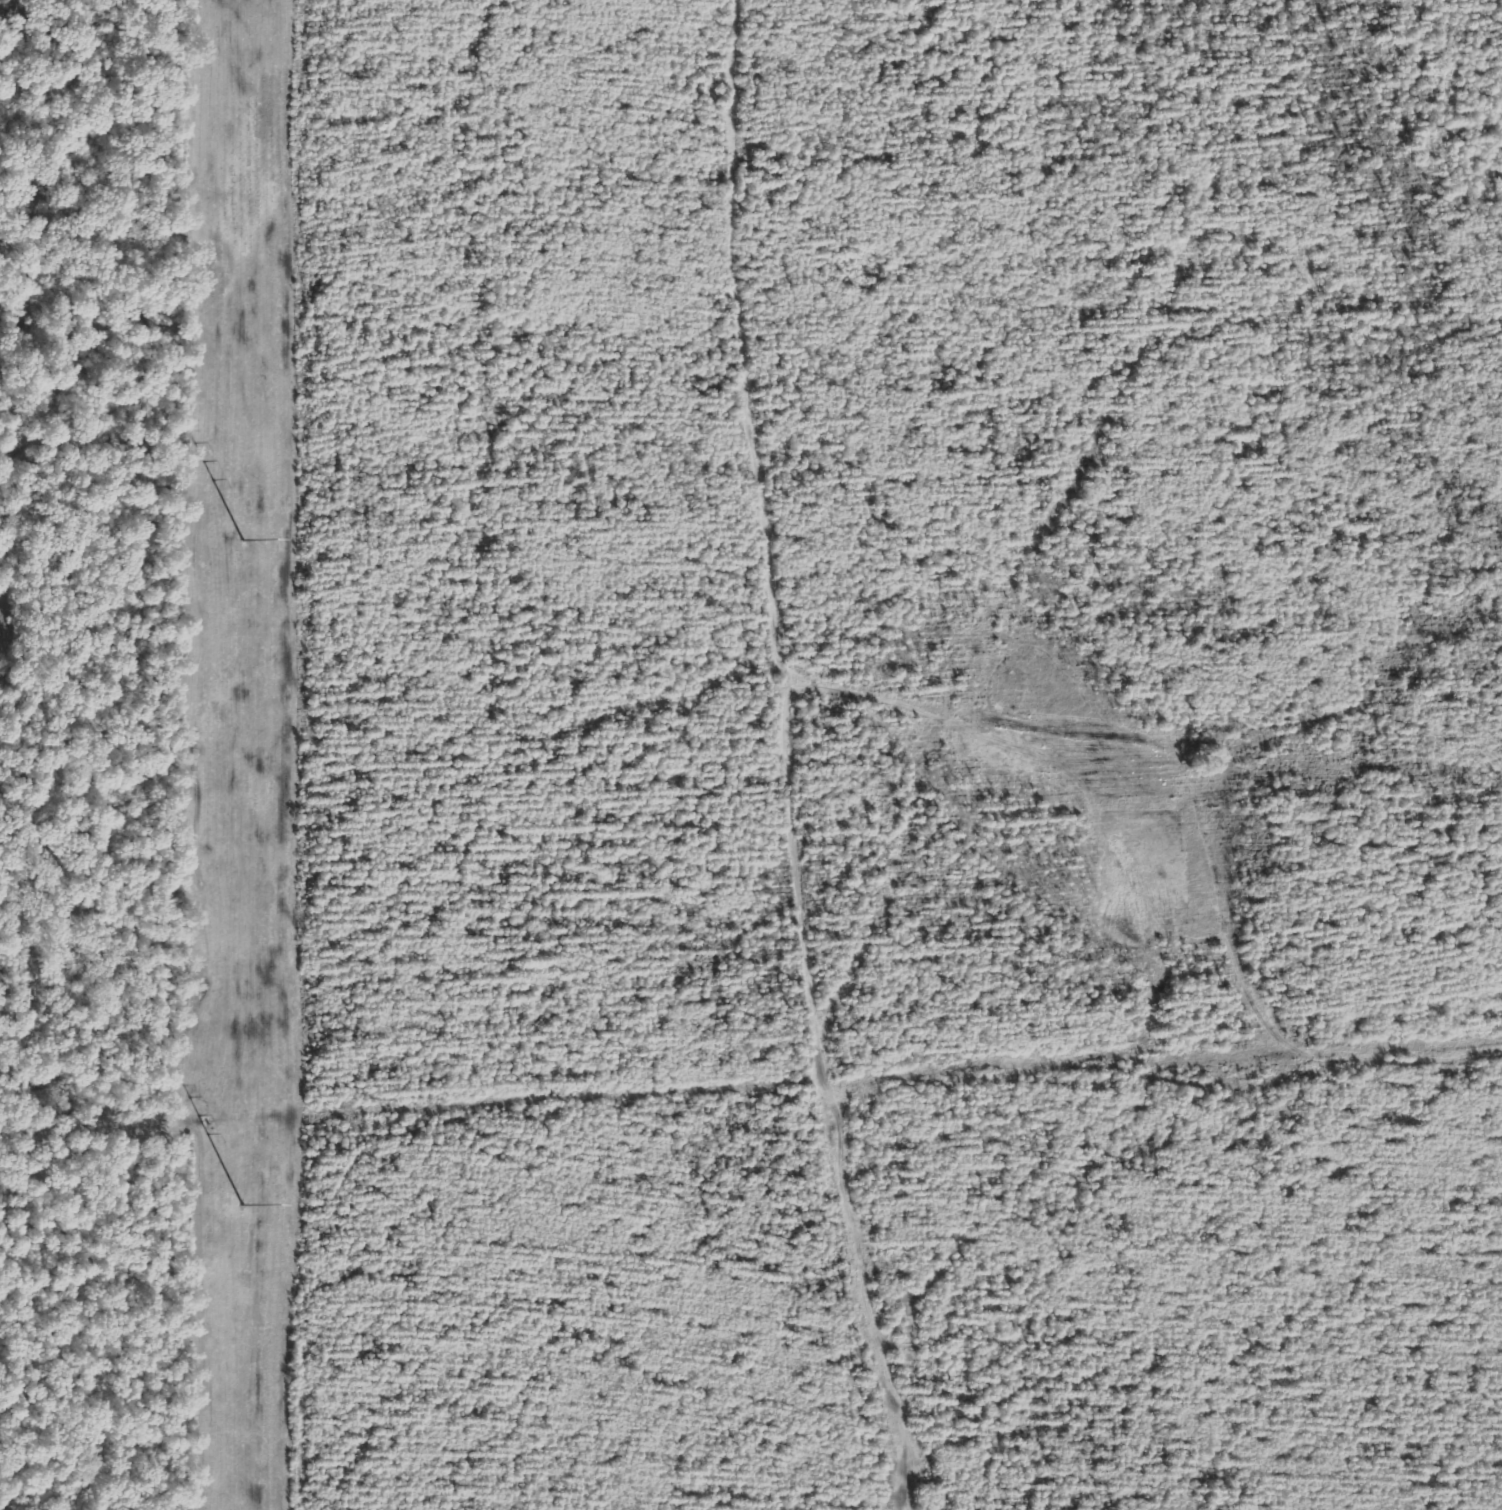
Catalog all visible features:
road: (760, 1128)

